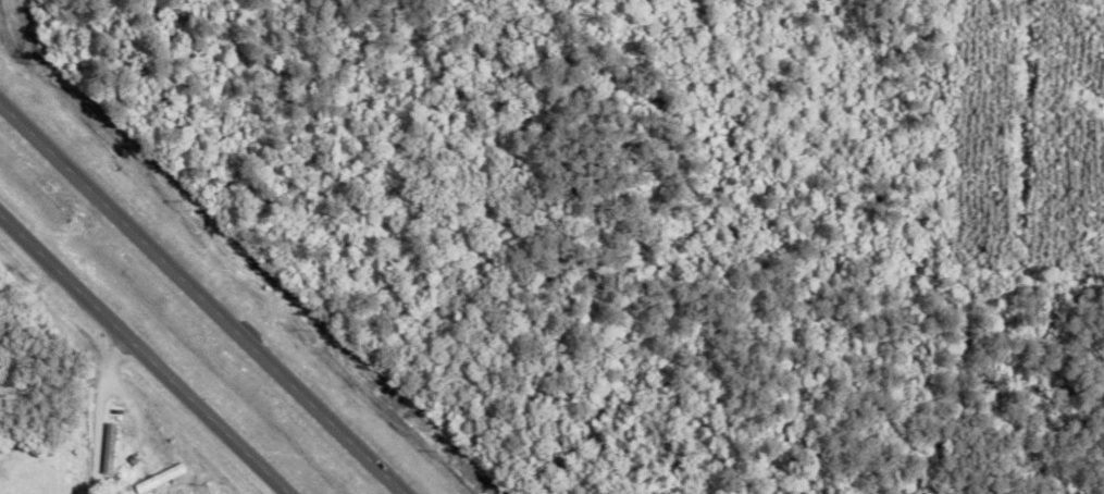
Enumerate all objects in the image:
road: (202, 297)
road: (144, 354)
road: (96, 411)

